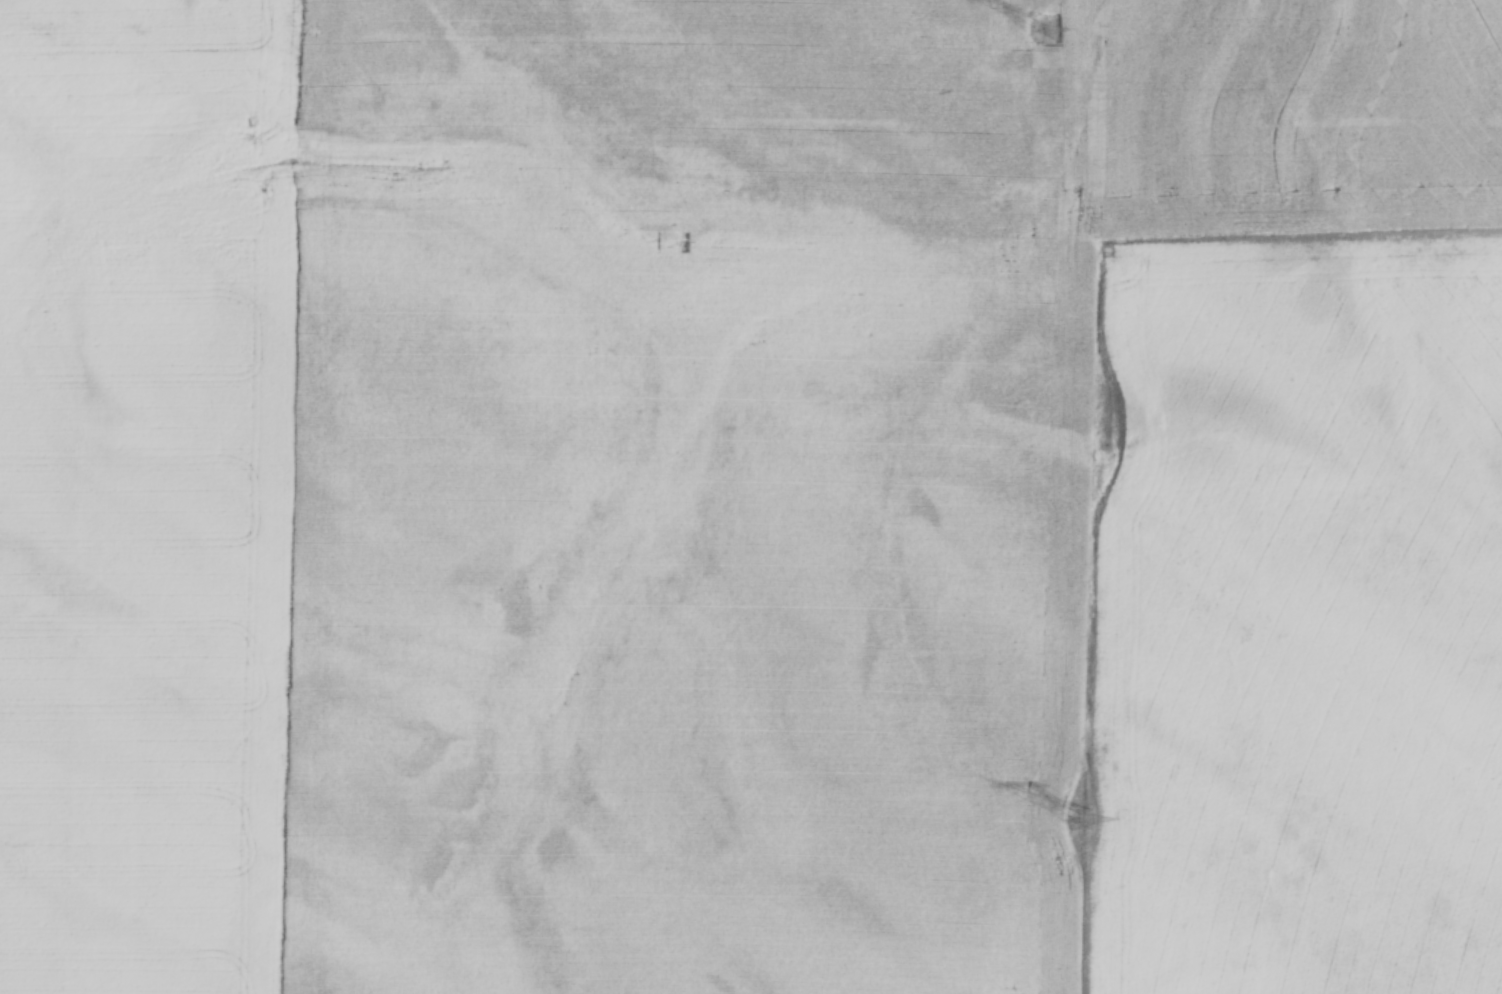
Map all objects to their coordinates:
power tower: (1048, 22)
power tower: (1090, 838)

